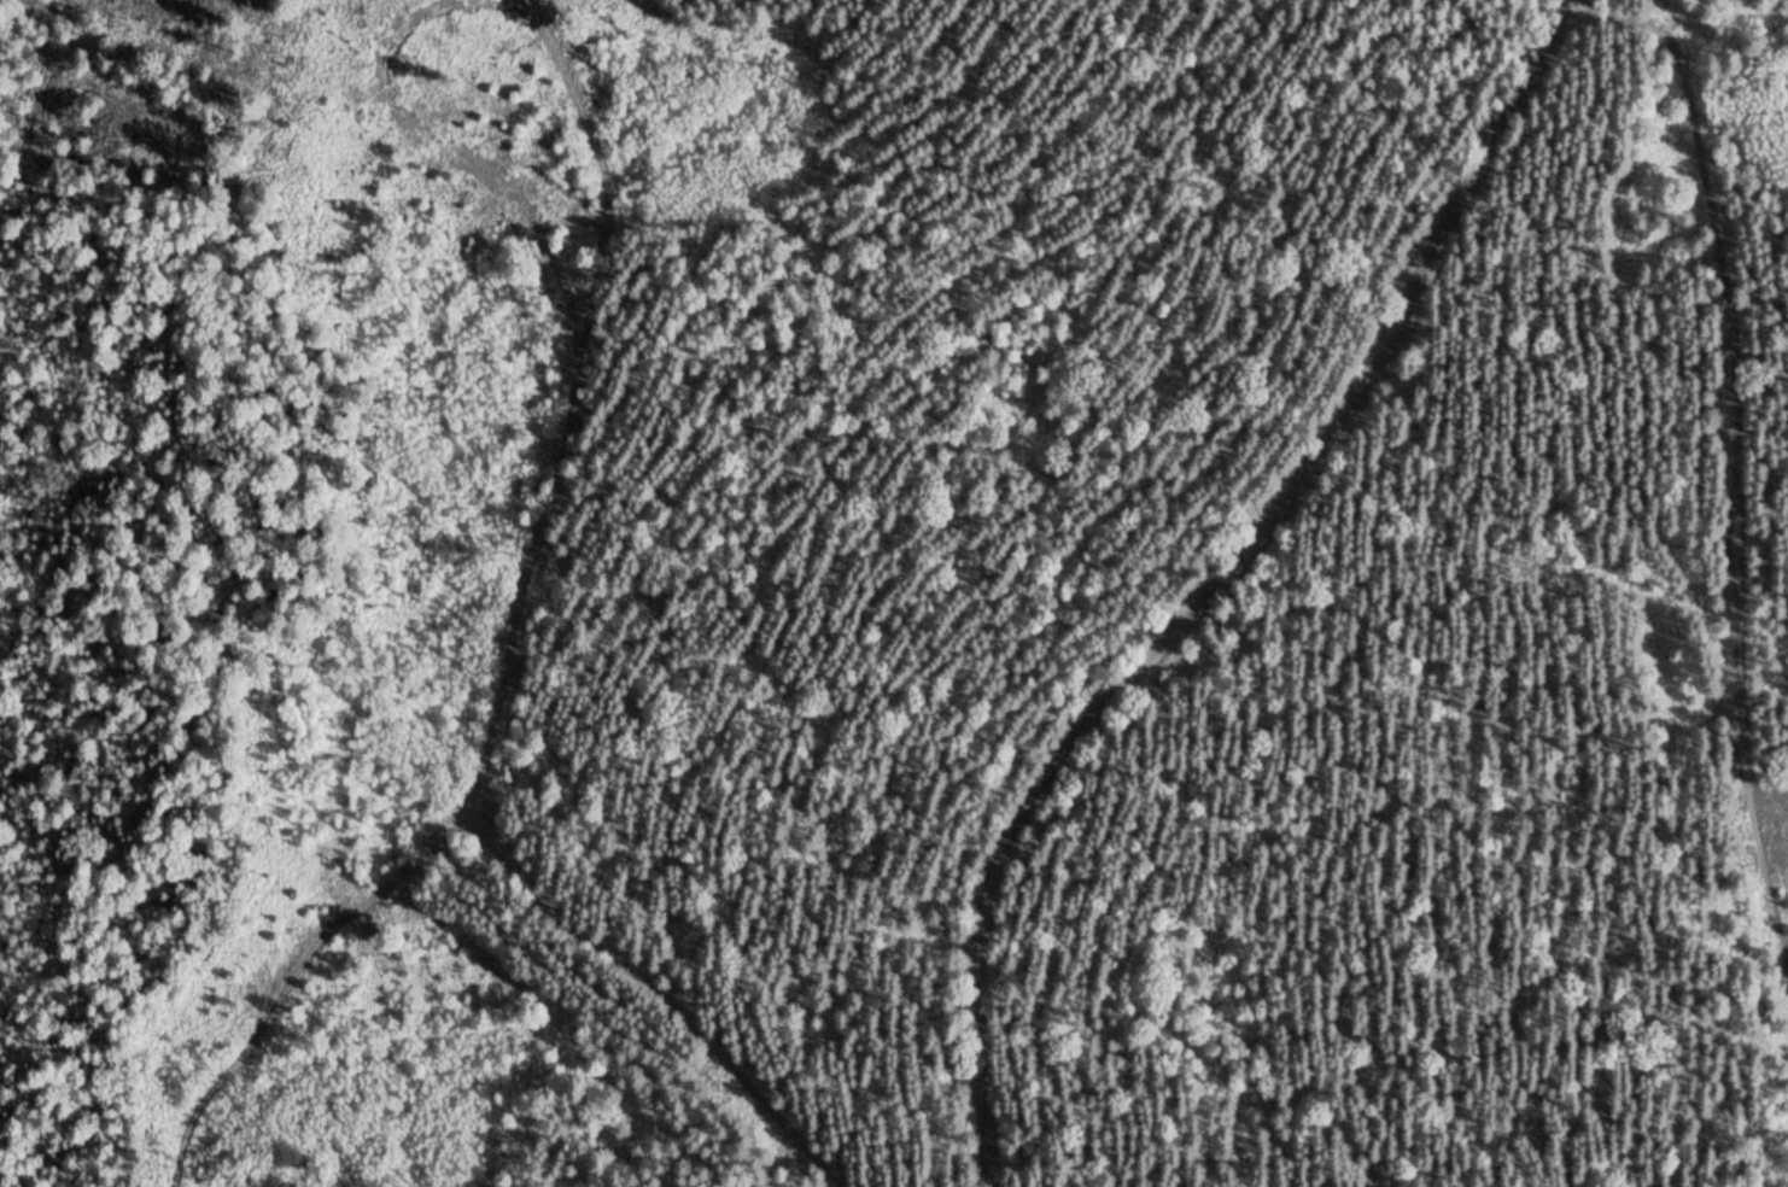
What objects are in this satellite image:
road: (559, 387)
road: (1736, 473)
road: (1220, 593)
road: (291, 964)
road: (665, 981)

